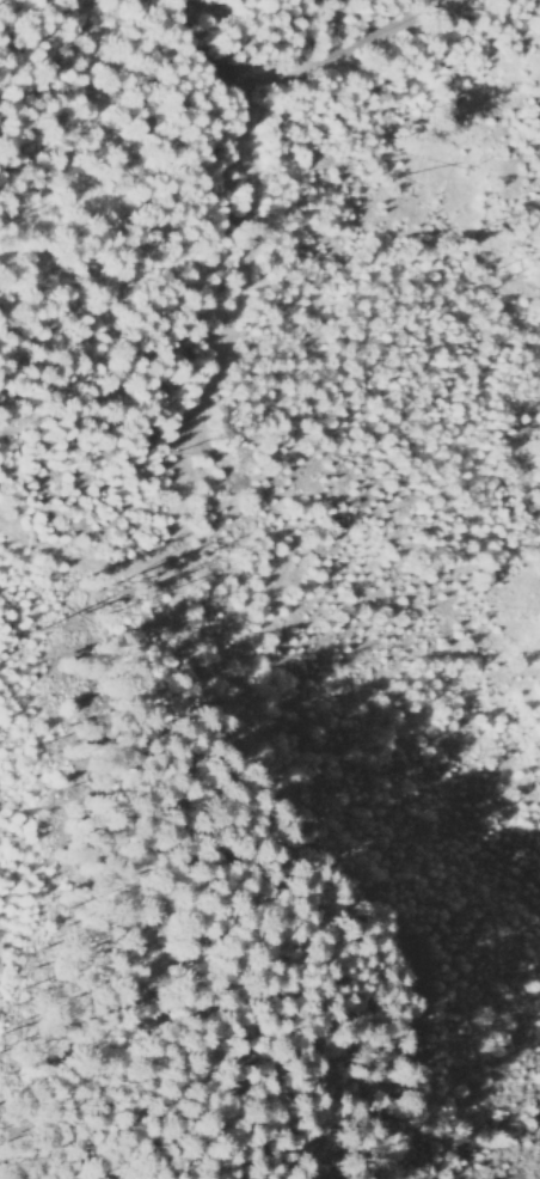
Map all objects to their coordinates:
road: (292, 67)
road: (203, 402)
road: (315, 823)

